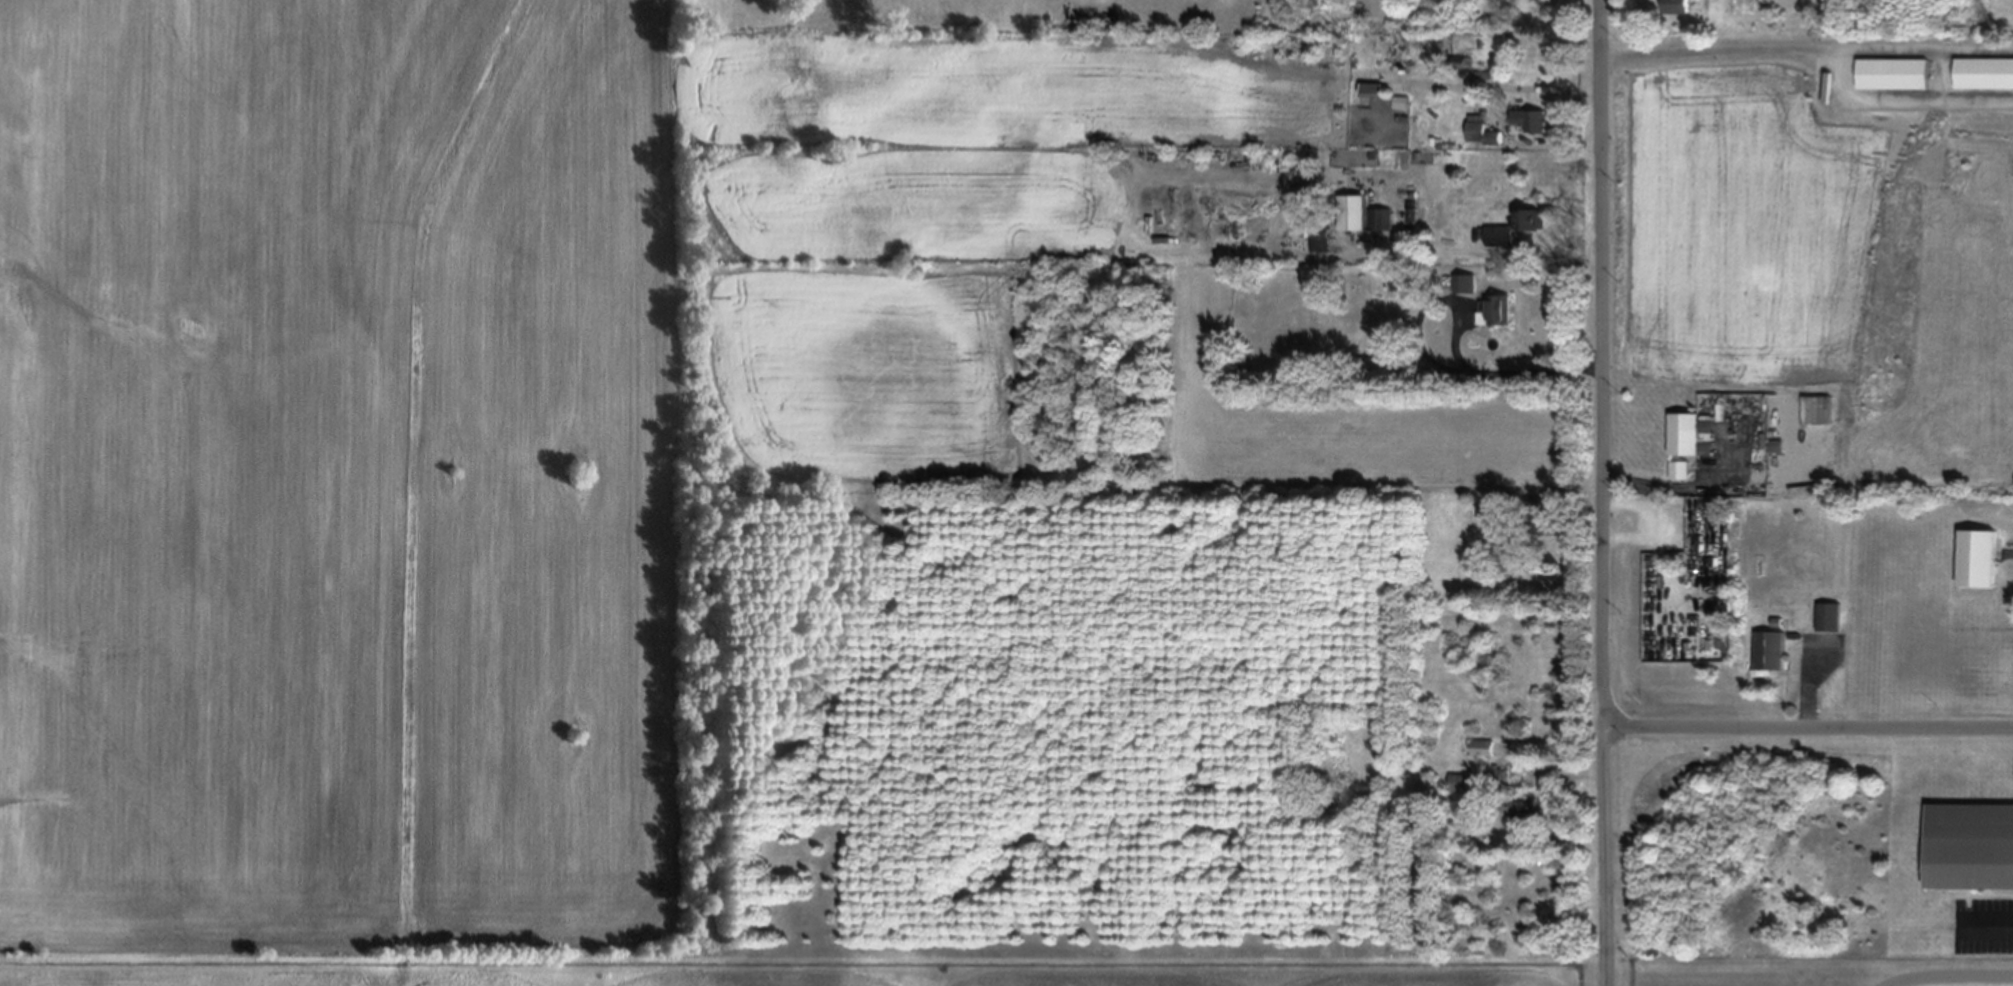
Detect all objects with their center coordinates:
building: (1679, 6)
road: (1717, 40)
building: (1985, 73)
building: (1894, 74)
building: (1485, 75)
building: (1373, 89)
building: (1401, 103)
building: (1530, 120)
building: (1481, 132)
building: (1353, 212)
building: (1380, 219)
building: (1516, 227)
building: (1318, 234)
building: (1465, 283)
building: (1495, 309)
road: (1455, 341)
building: (1055, 350)
building: (1690, 435)
building: (1679, 470)
crop: (342, 484)
road: (1600, 493)
building: (1544, 515)
building: (1976, 557)
building: (1828, 616)
building: (1770, 650)
road: (1807, 731)
building: (1483, 748)
building: (1461, 783)
building: (1527, 812)
building: (1970, 845)
building: (1522, 884)
airport: (1083, 975)

